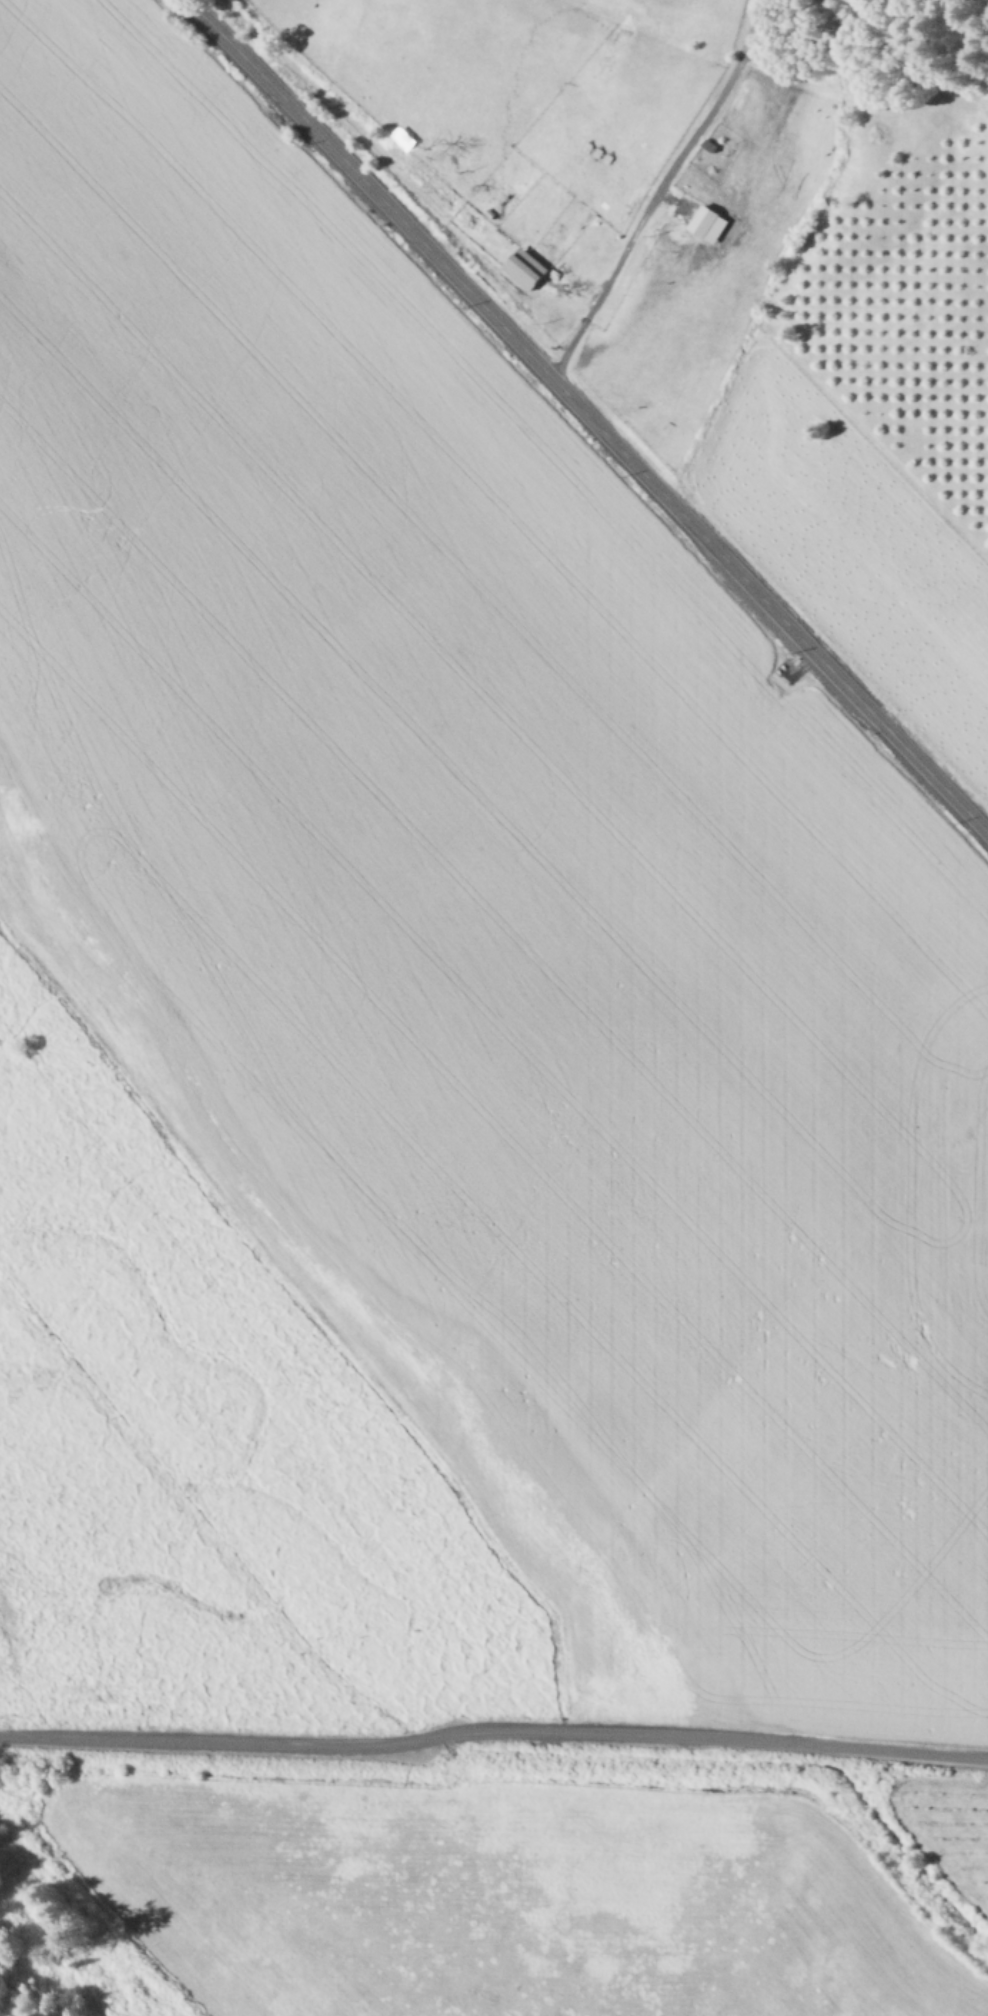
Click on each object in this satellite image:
road: (662, 190)
building: (710, 223)
building: (527, 268)
crop: (666, 288)
road: (587, 415)
crop: (451, 1156)
road: (492, 1727)

